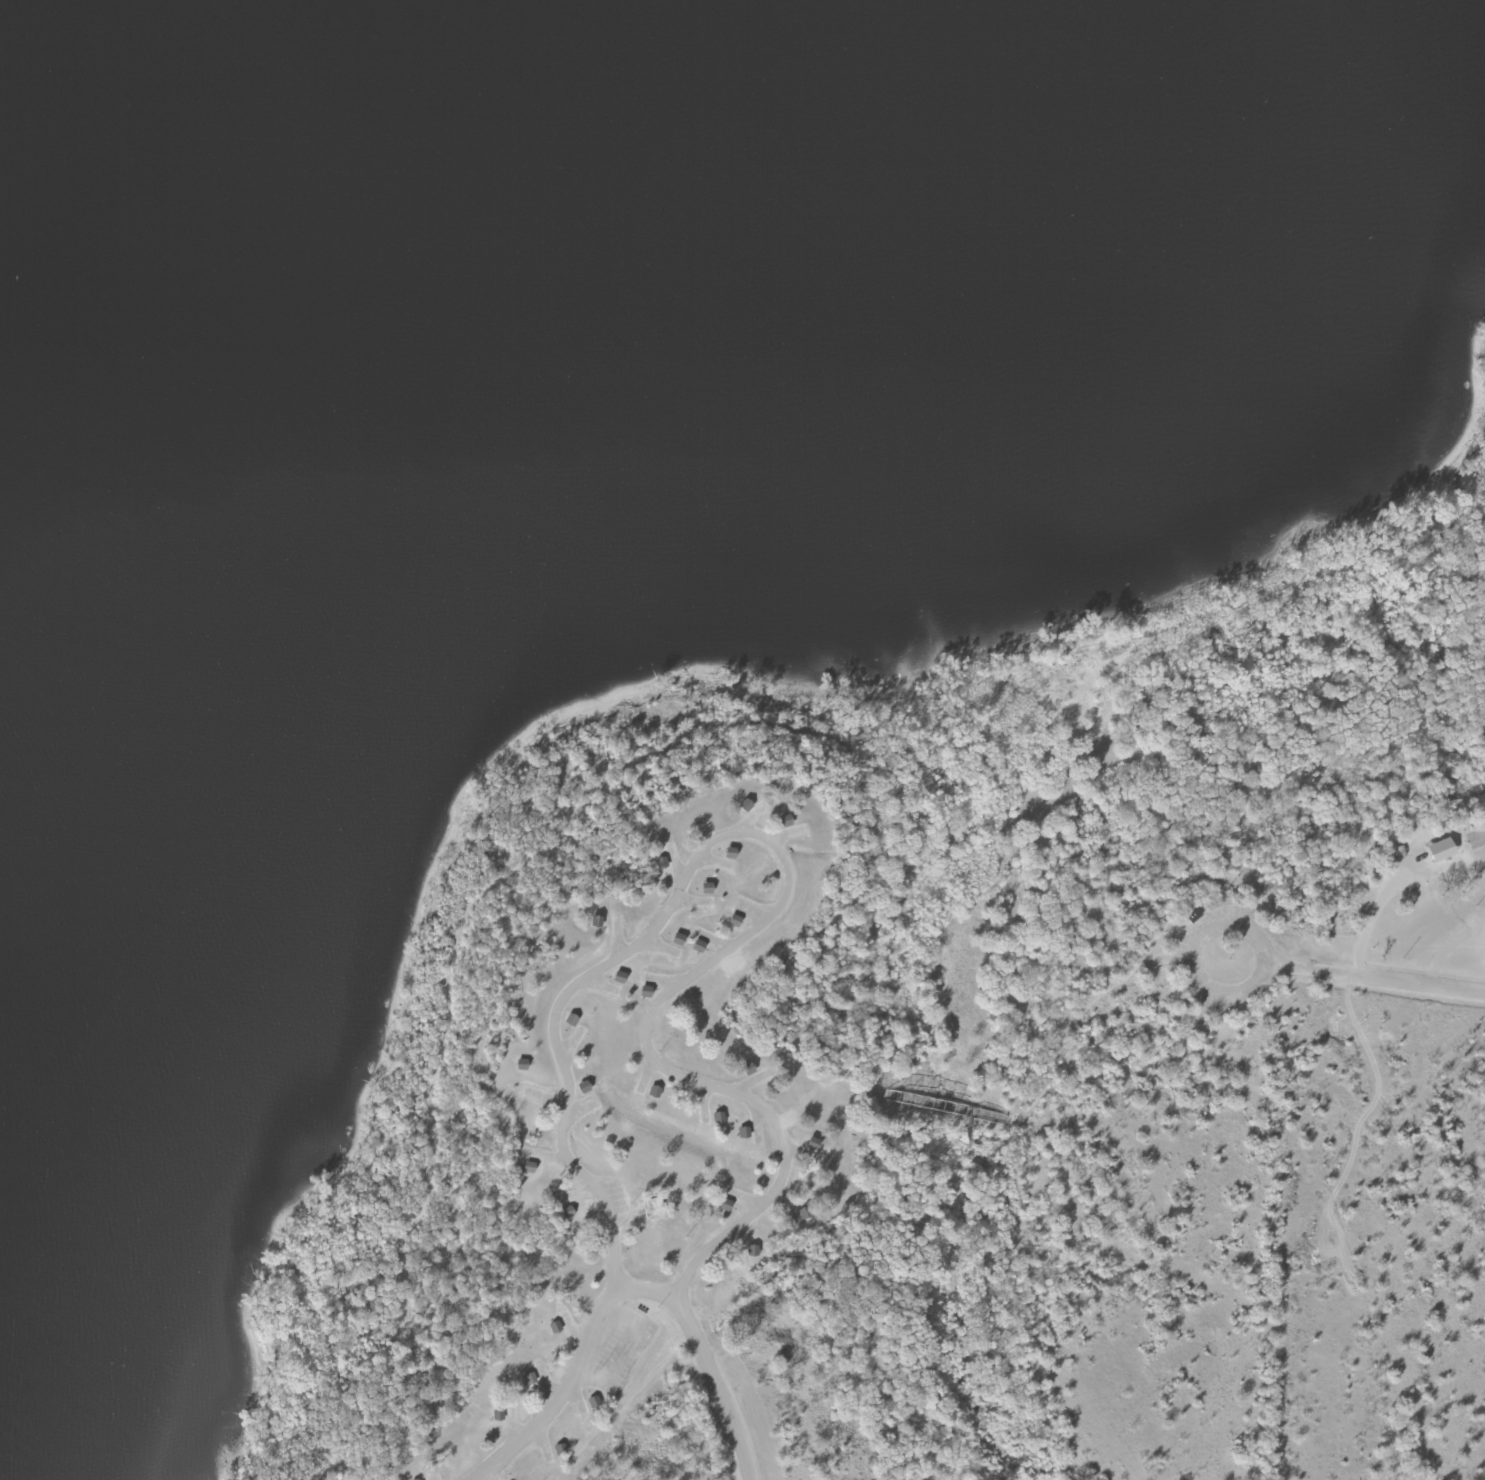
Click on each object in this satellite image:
river: (86, 124)
road: (552, 845)
road: (765, 845)
building: (1440, 848)
building: (677, 938)
road: (1193, 954)
building: (619, 976)
road: (1374, 980)
park: (947, 1068)
road: (886, 1104)
road: (646, 1287)
building: (593, 1402)
road: (314, 1440)

